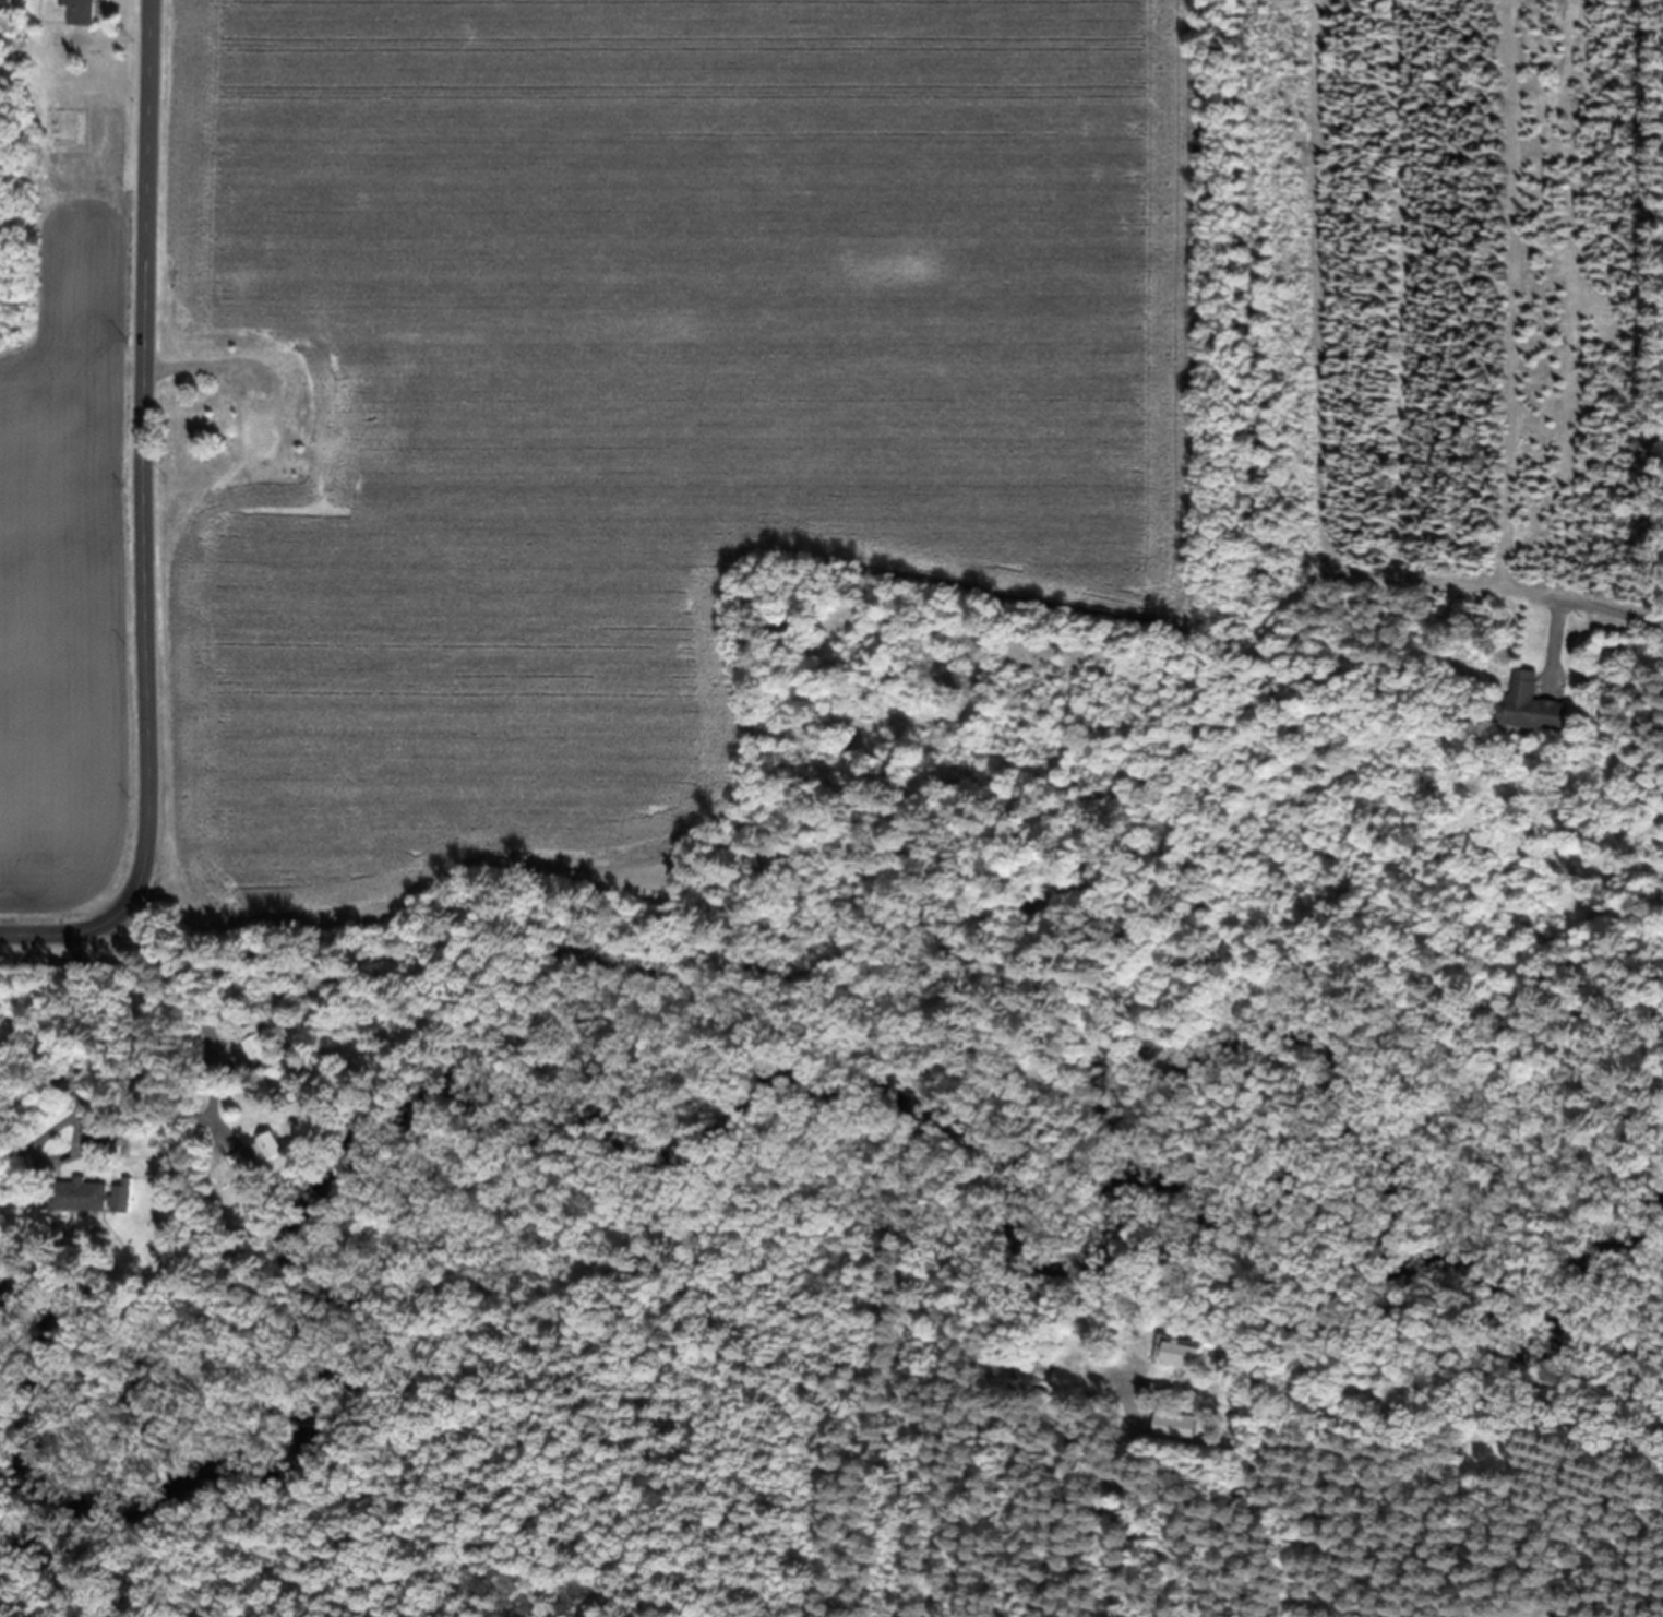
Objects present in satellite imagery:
building: (84, 11)
building: (261, 436)
road: (152, 527)
building: (1534, 704)
road: (81, 1032)
building: (256, 1042)
building: (263, 1073)
building: (112, 1132)
building: (272, 1145)
building: (232, 1164)
building: (242, 1173)
building: (94, 1193)
building: (71, 1227)
building: (1223, 1350)
building: (1181, 1352)
building: (1043, 1366)
building: (1236, 1418)
building: (1176, 1425)

